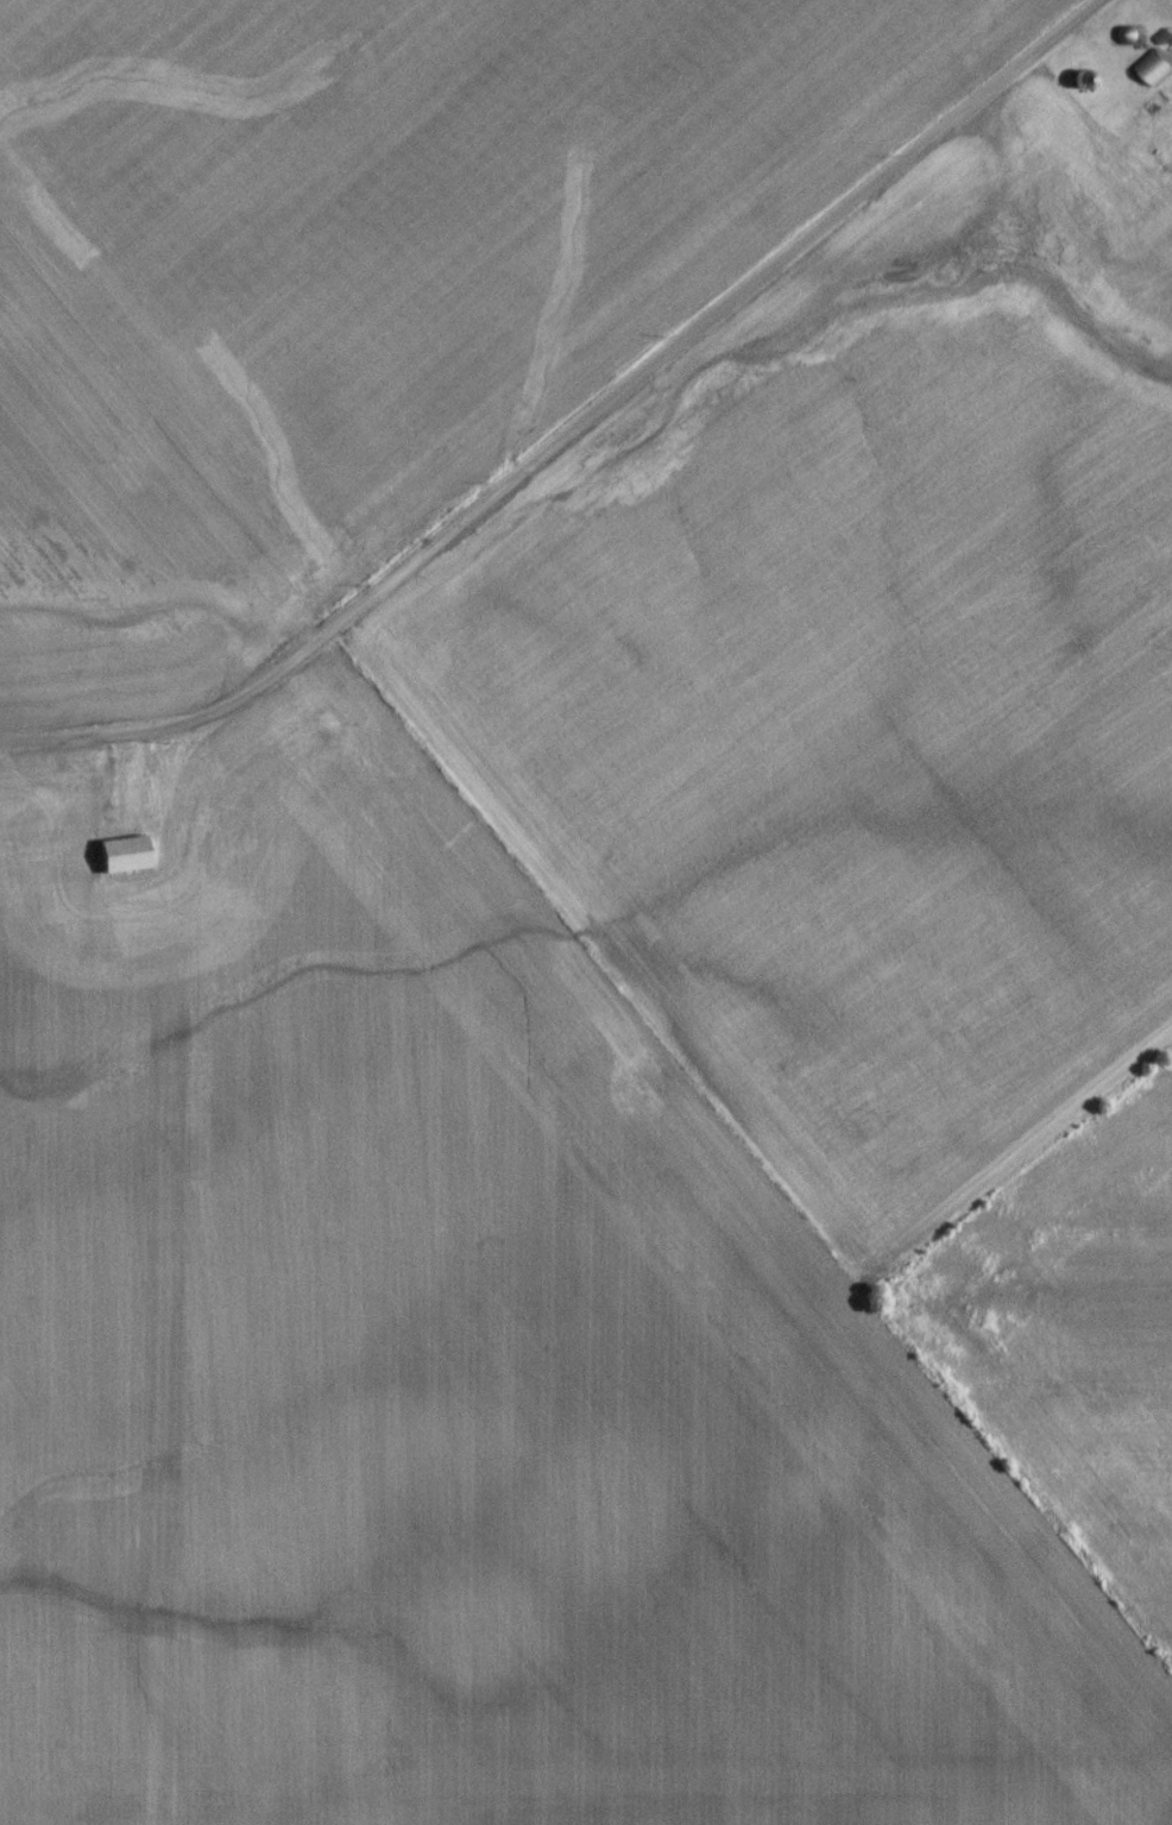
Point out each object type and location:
road: (1167, 6)
building: (1157, 73)
building: (1155, 109)
building: (1107, 206)
road: (582, 430)
building: (213, 767)
building: (53, 795)
building: (399, 804)
building: (83, 807)
building: (193, 856)
building: (125, 860)
building: (0, 891)
building: (14, 905)

